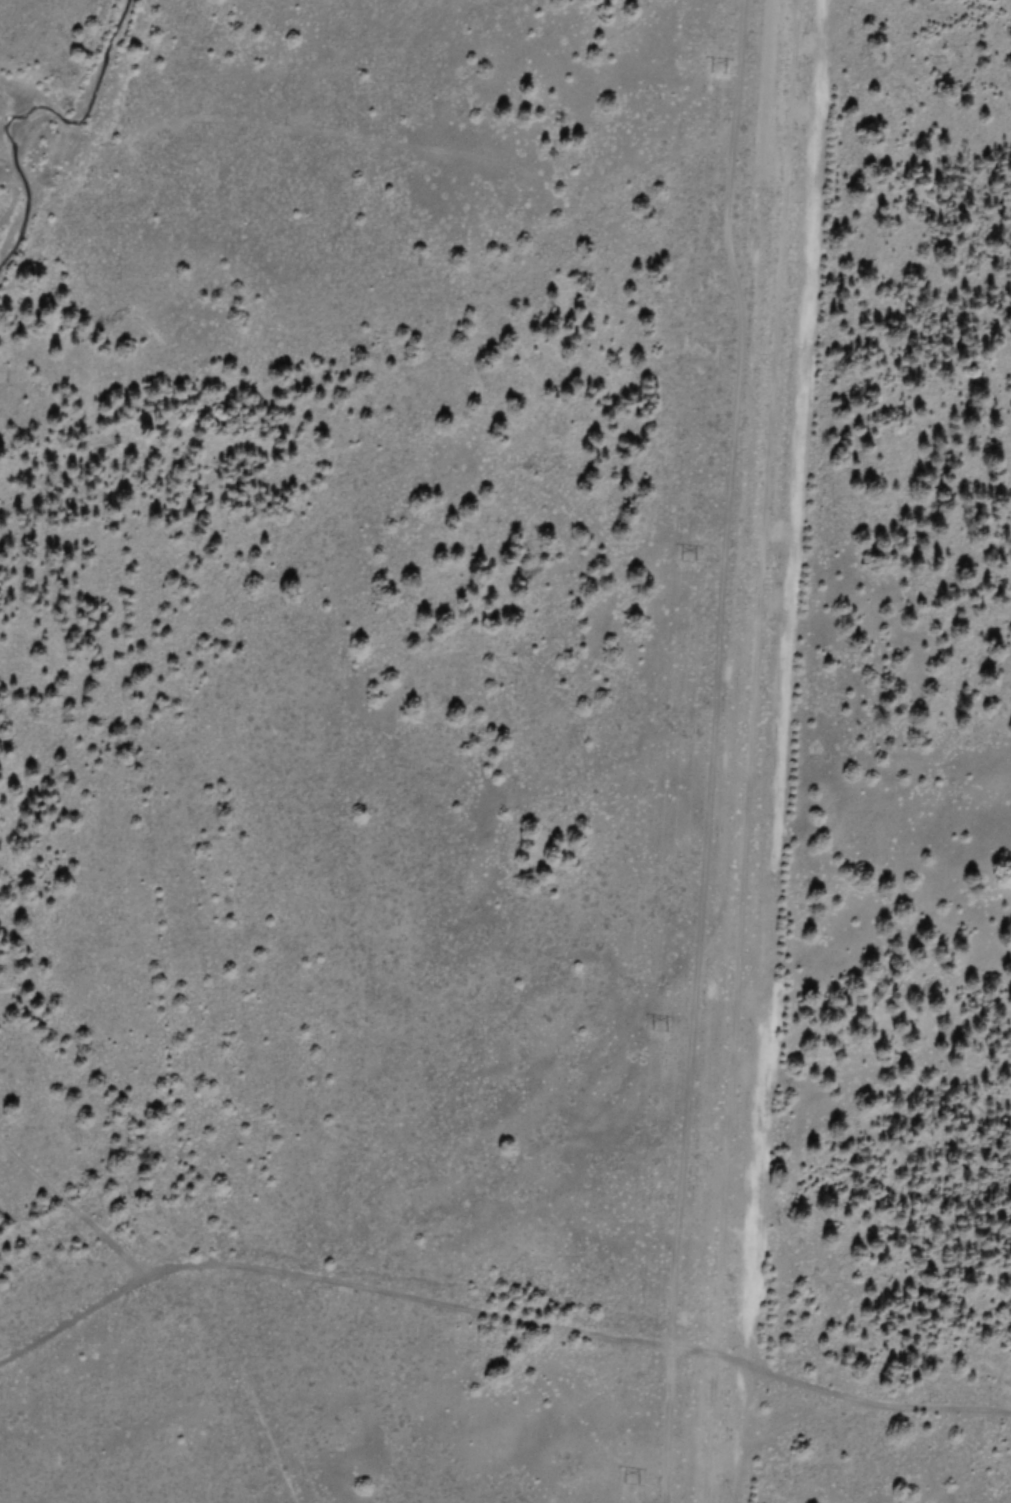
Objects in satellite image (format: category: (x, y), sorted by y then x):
road: (343, 1286)
road: (857, 1399)

